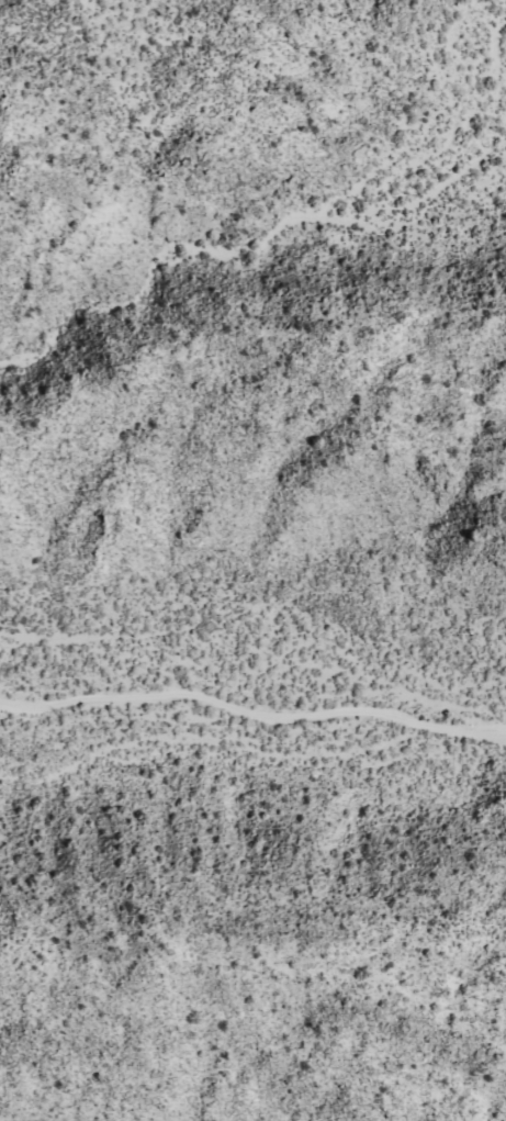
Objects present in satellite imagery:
road: (251, 711)

